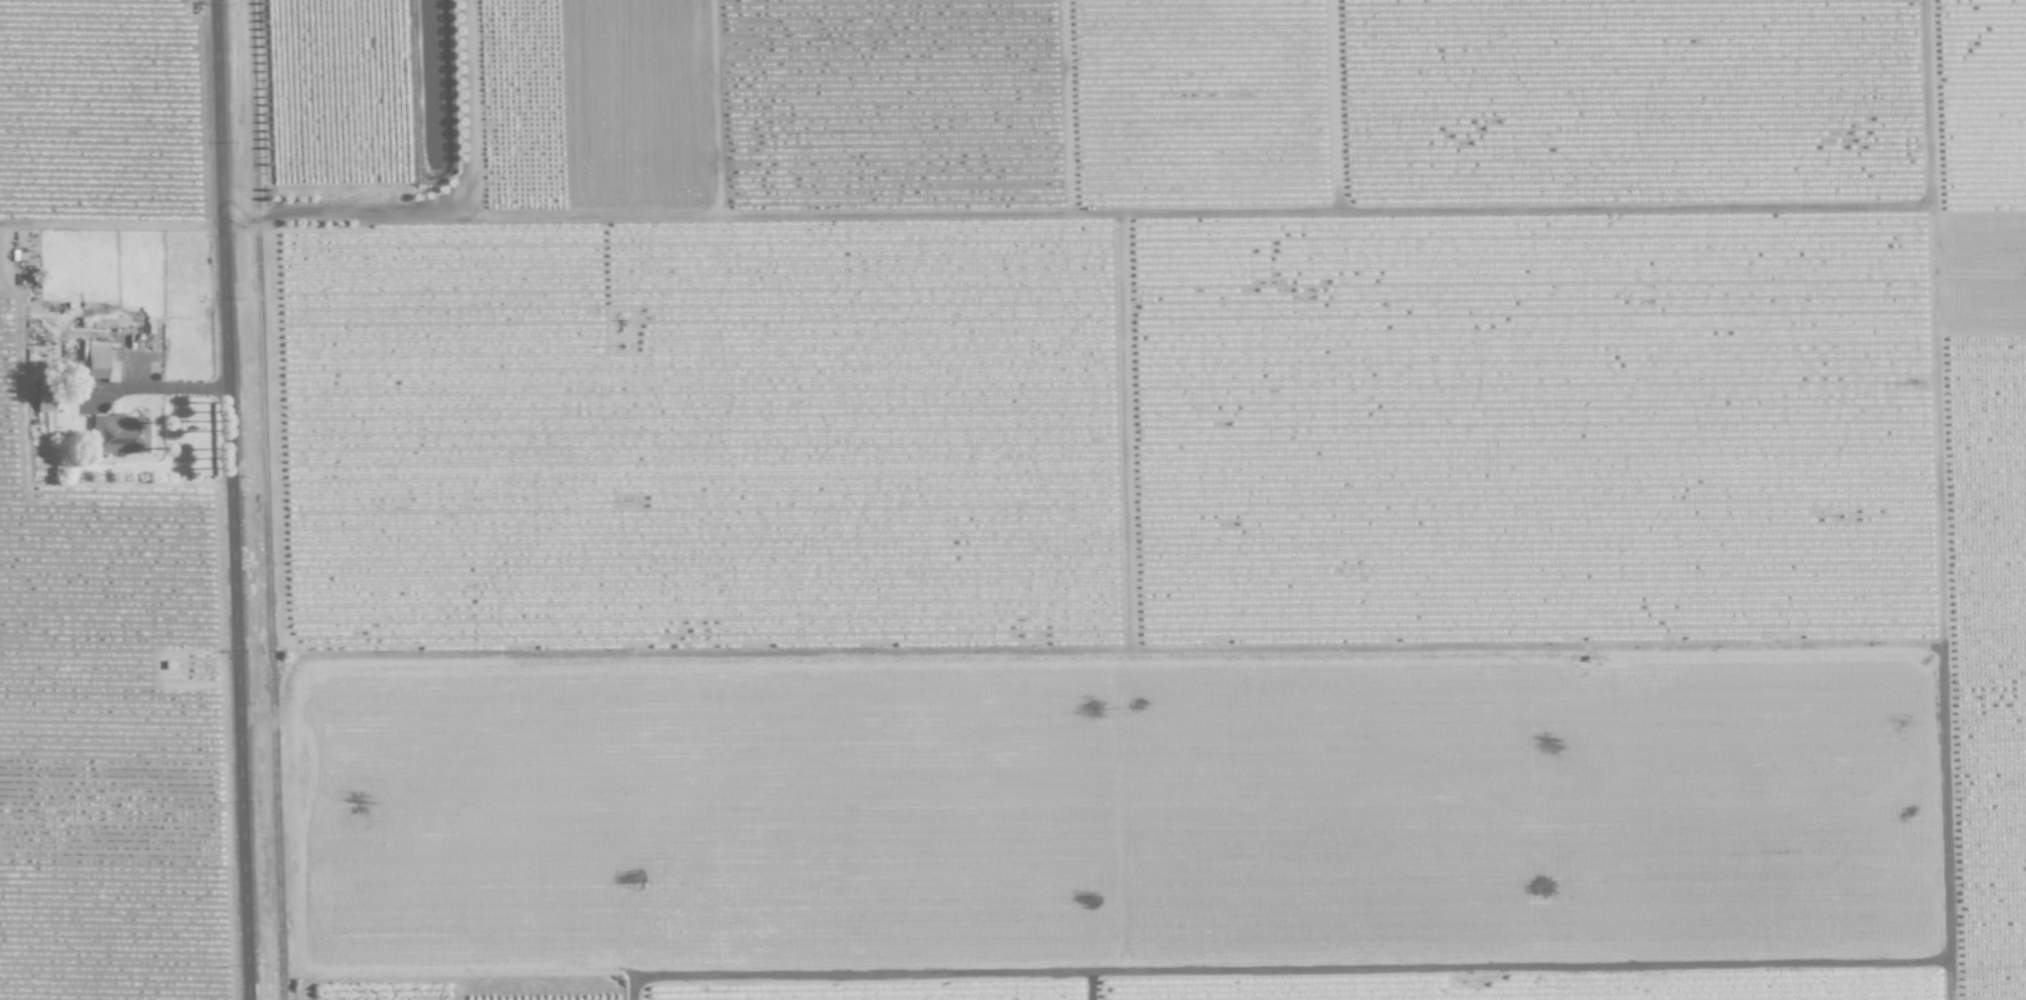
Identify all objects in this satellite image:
road: (439, 201)
road: (15, 287)
building: (97, 362)
building: (44, 401)
building: (118, 433)
road: (235, 499)

